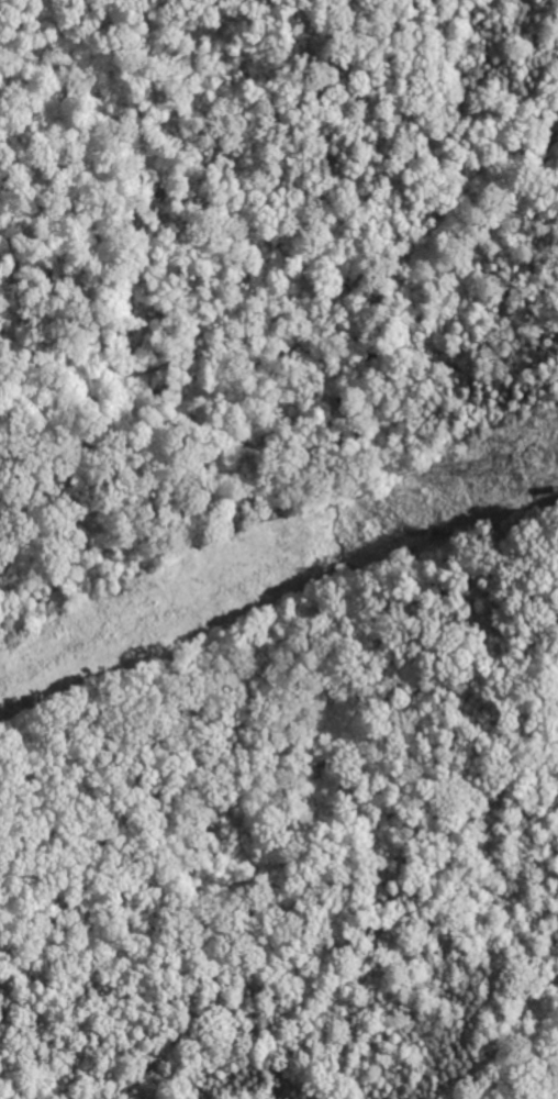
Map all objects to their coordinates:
power tower: (536, 462)

